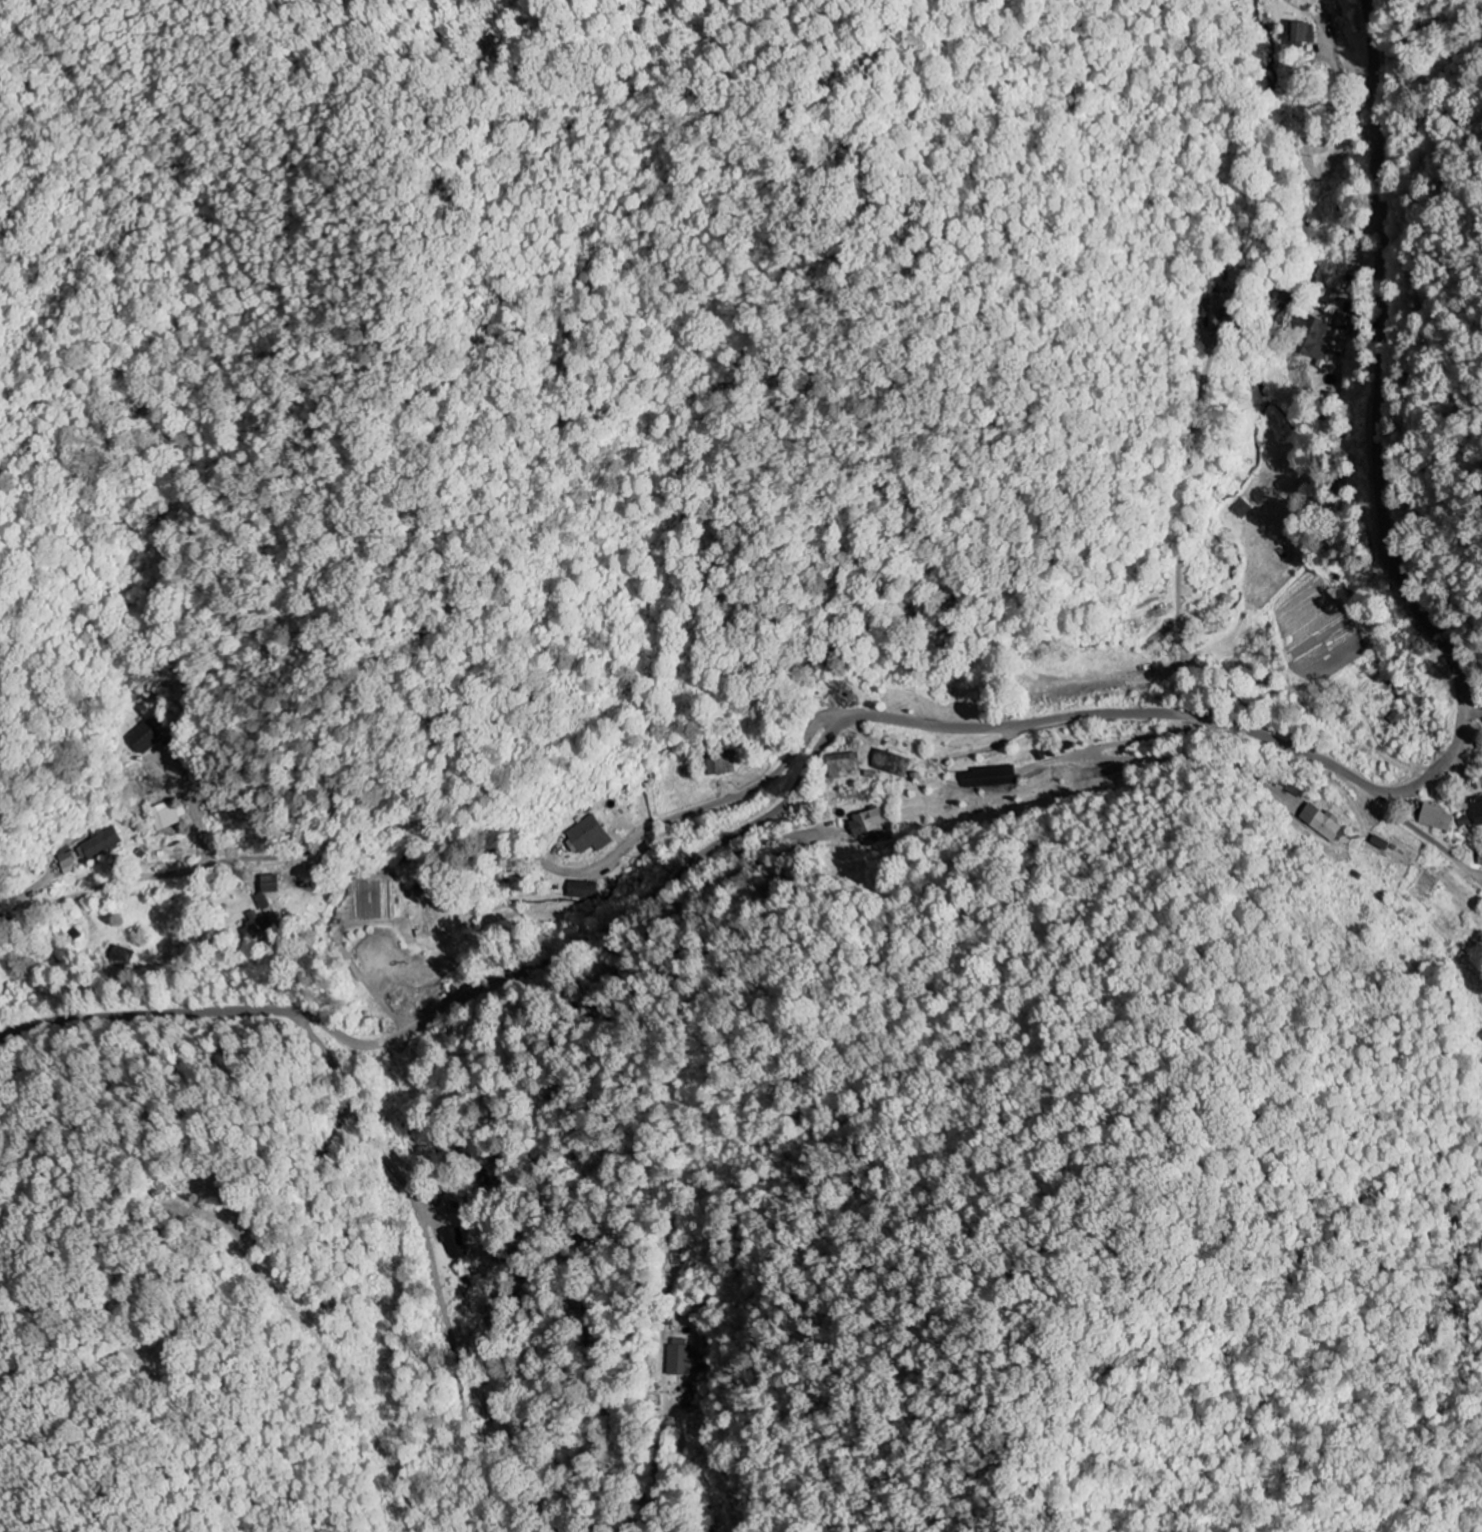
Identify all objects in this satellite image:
building: (1302, 33)
building: (1214, 312)
building: (1344, 321)
building: (1316, 340)
road: (1192, 486)
building: (1242, 509)
road: (1470, 690)
road: (1235, 694)
road: (1068, 723)
building: (146, 738)
building: (892, 764)
building: (844, 765)
building: (990, 776)
road: (186, 810)
building: (1477, 810)
building: (168, 816)
building: (1436, 817)
building: (1323, 822)
building: (1465, 822)
road: (446, 831)
building: (588, 836)
building: (99, 845)
building: (66, 860)
building: (1480, 860)
building: (579, 890)
building: (262, 902)
building: (259, 927)
road: (563, 1062)
building: (455, 1243)
road: (433, 1265)
building: (679, 1357)
road: (349, 1388)

